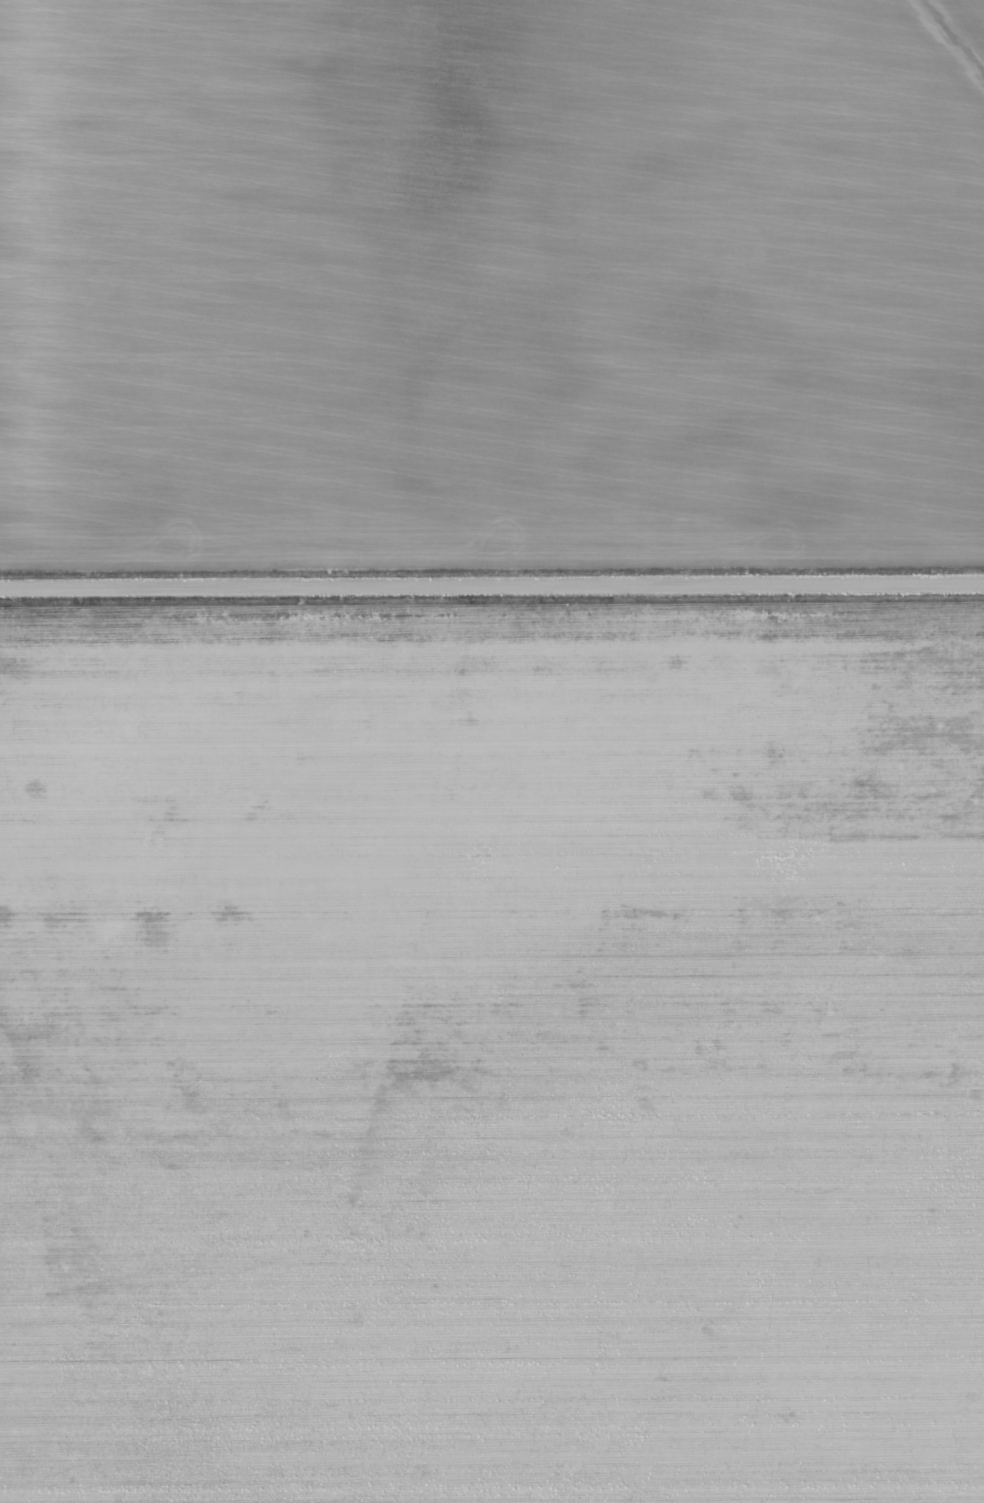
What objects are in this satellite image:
road: (492, 583)

